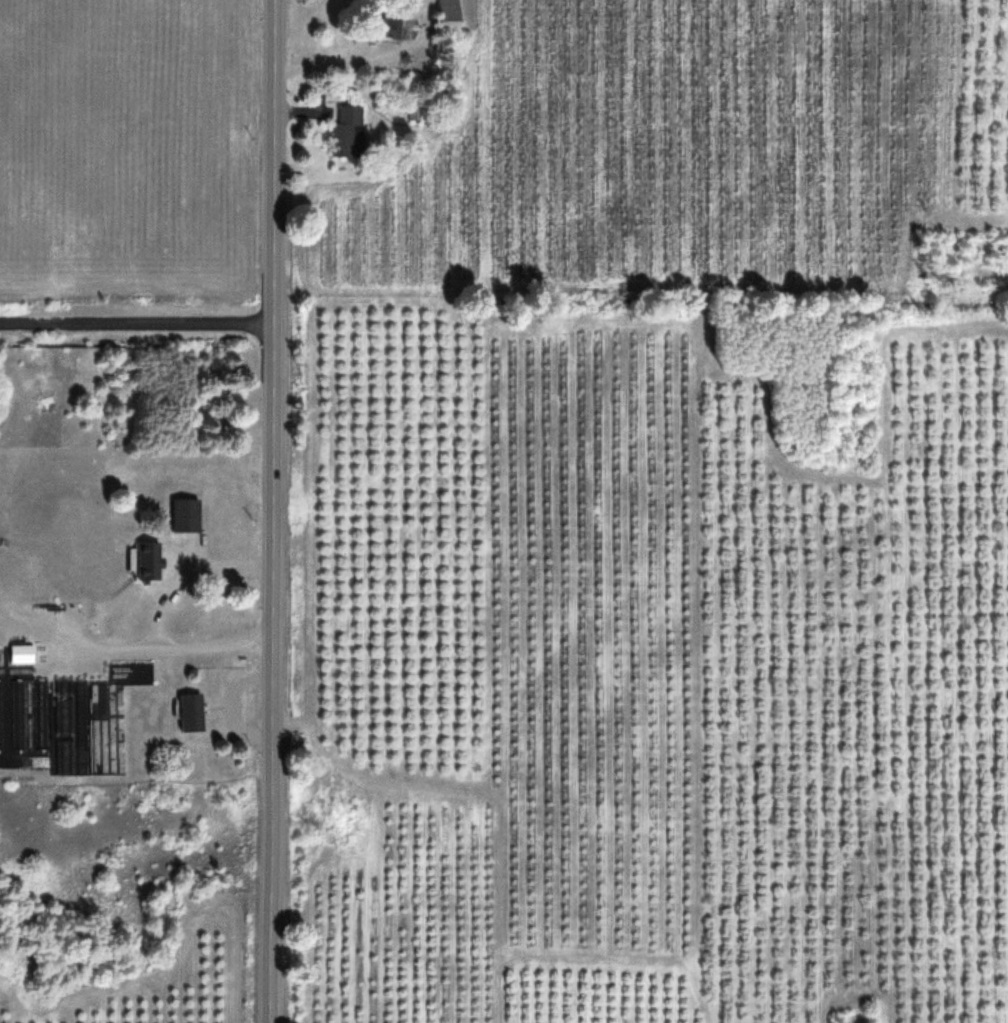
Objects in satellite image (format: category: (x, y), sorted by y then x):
building: (449, 12)
building: (348, 131)
road: (136, 323)
road: (270, 511)
building: (186, 515)
building: (142, 561)
parking lot: (53, 638)
road: (170, 647)
building: (21, 651)
building: (190, 712)
building: (16, 713)
building: (41, 714)
building: (2, 715)
building: (66, 717)

